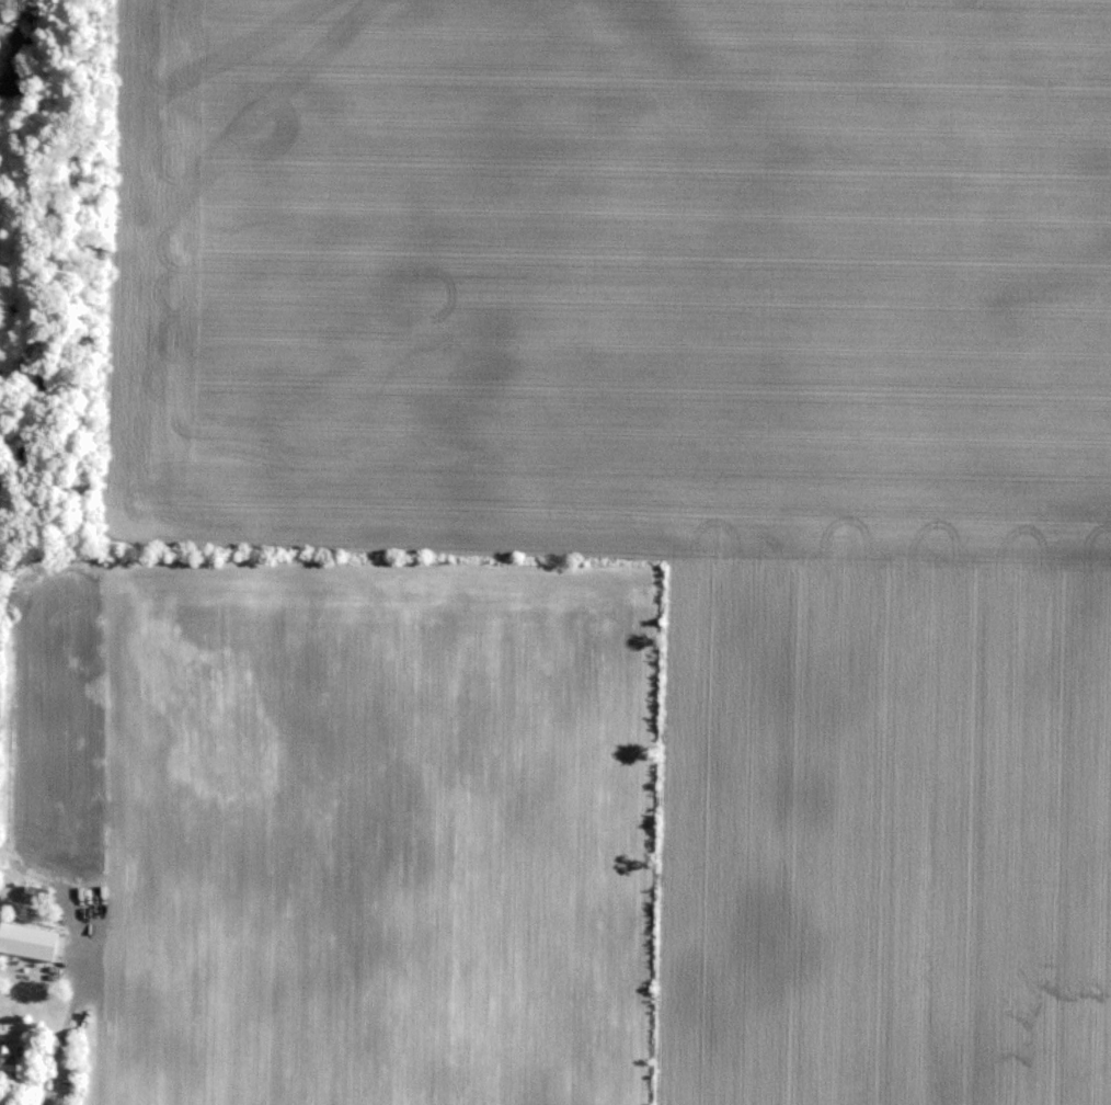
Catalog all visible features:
river: (14, 33)
road: (68, 999)

